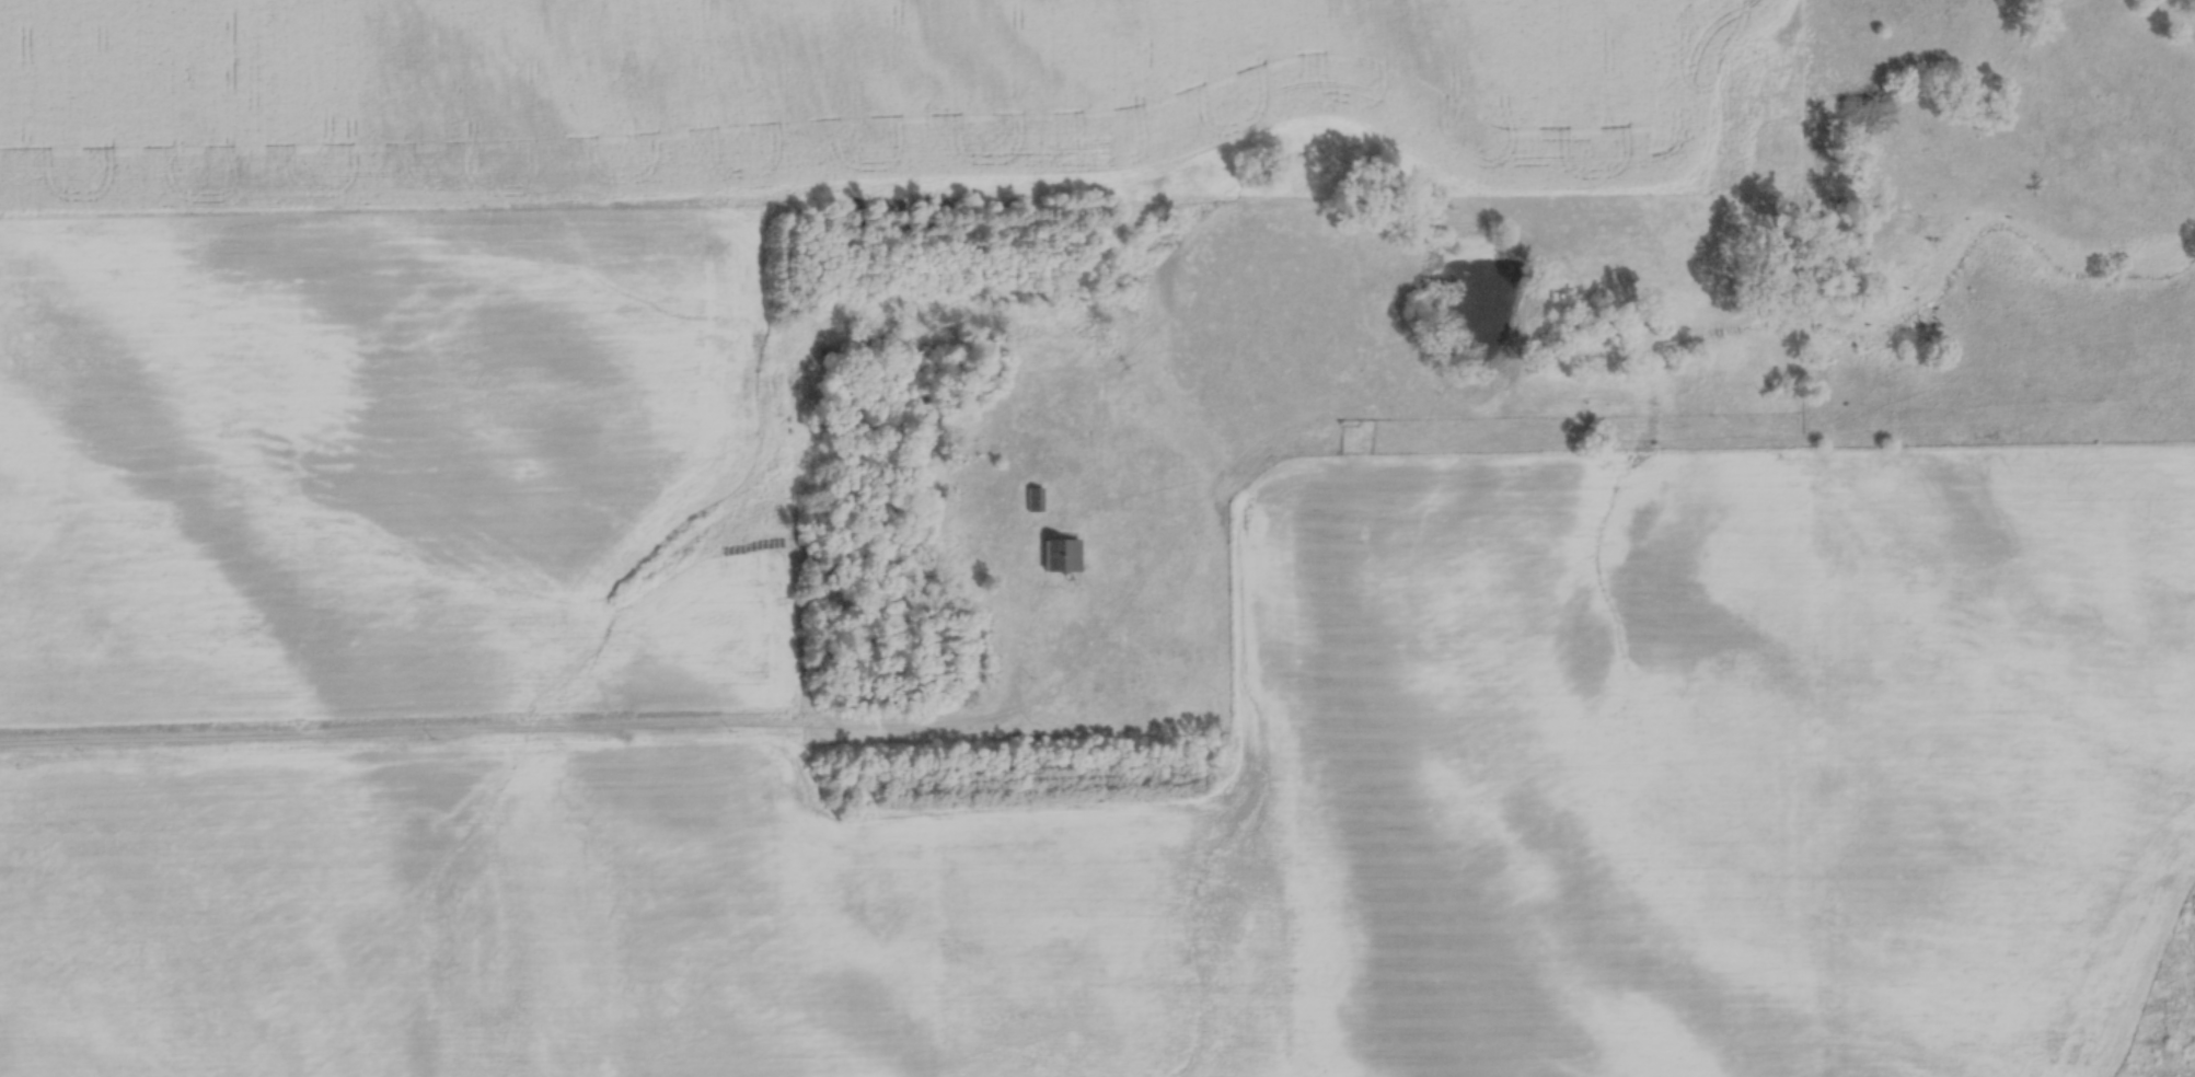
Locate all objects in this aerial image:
building: (1061, 556)
road: (487, 732)

